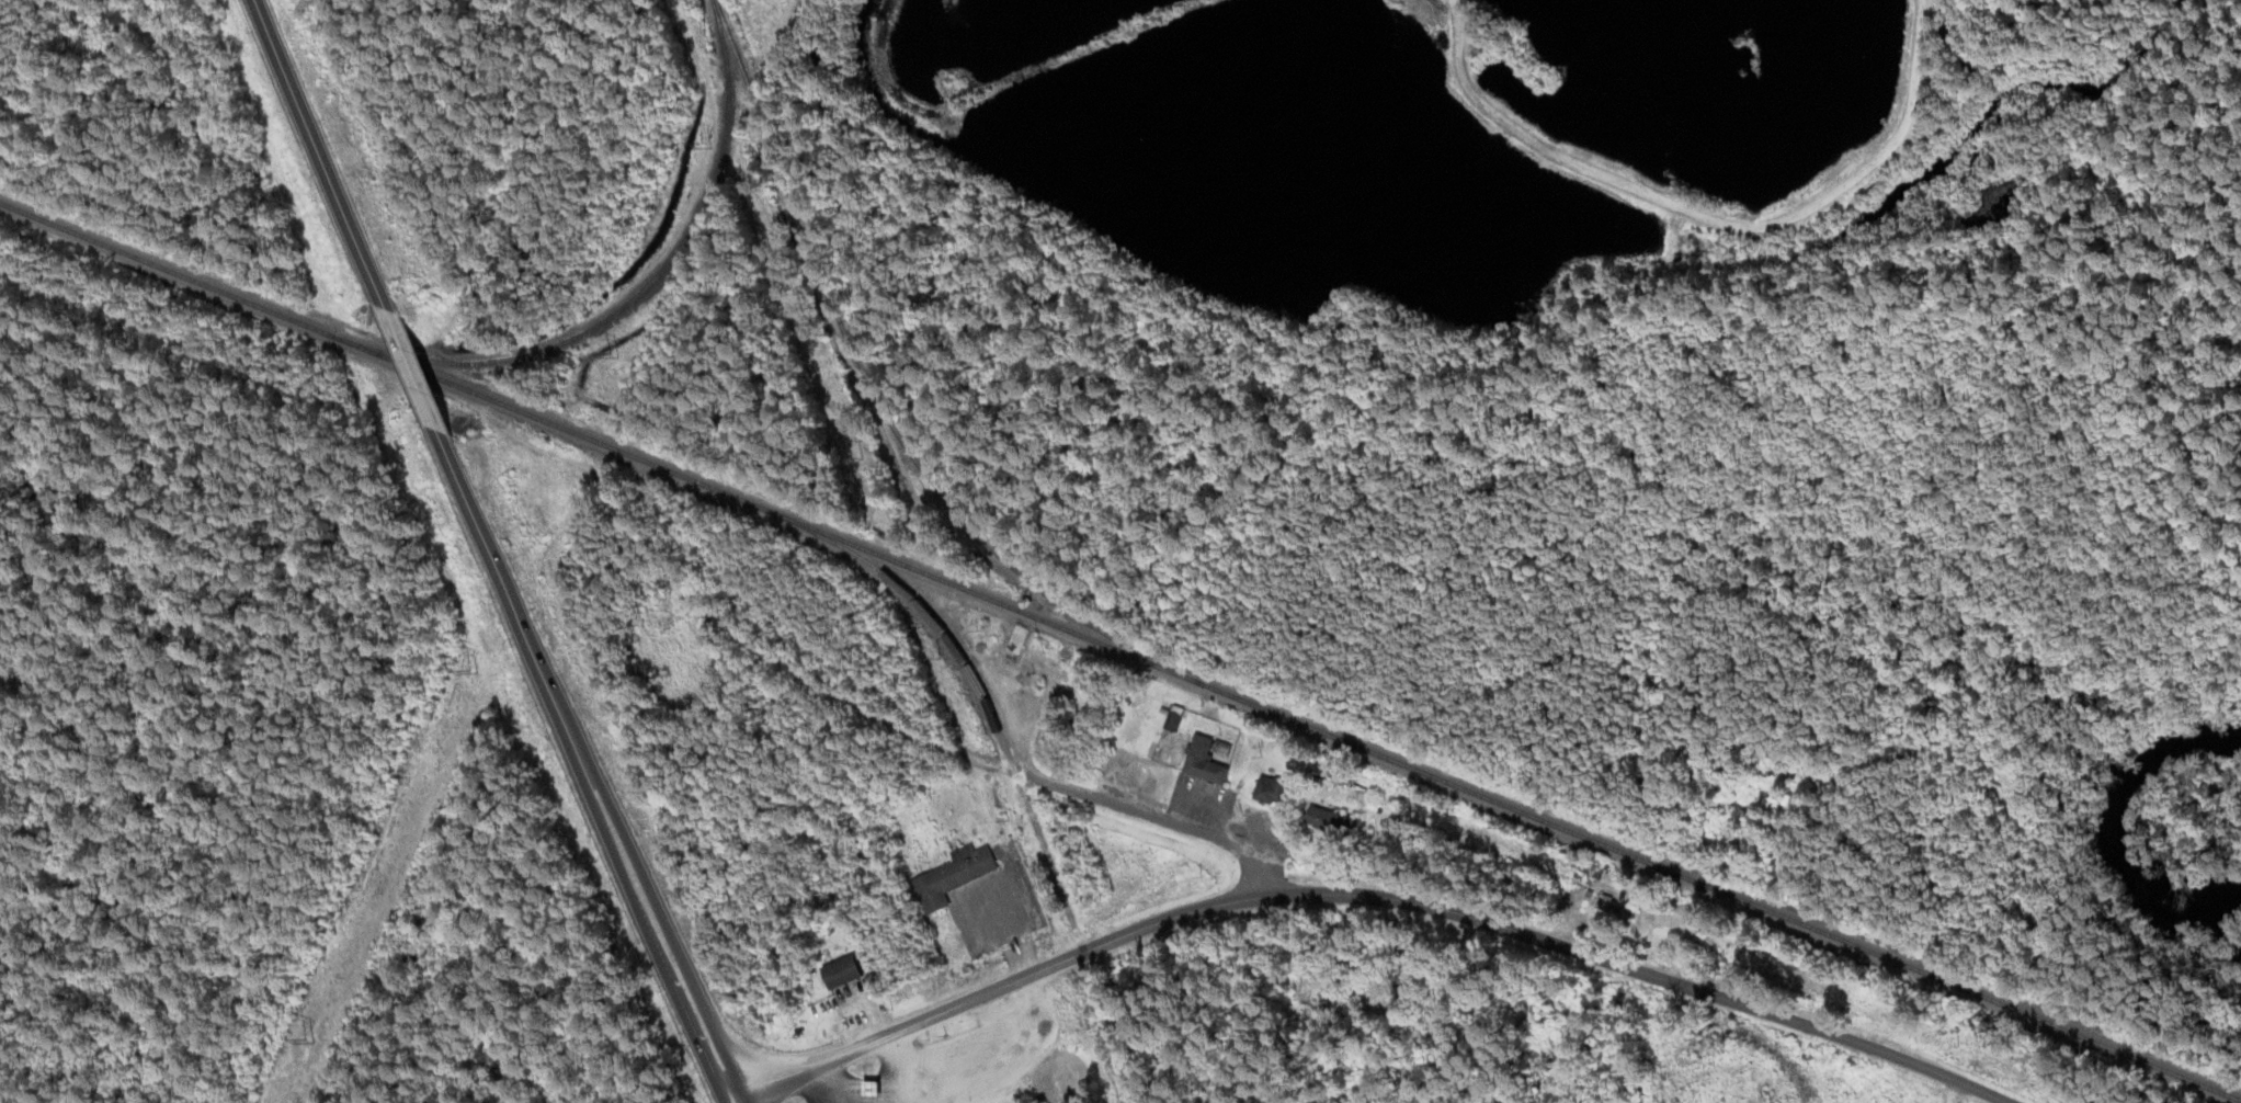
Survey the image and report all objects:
power tower: (698, 140)
road: (329, 153)
road: (1696, 213)
railway: (637, 294)
power tower: (610, 350)
road: (422, 371)
railway: (885, 408)
building: (1020, 640)
railway: (1119, 652)
power tower: (475, 669)
building: (1208, 762)
road: (591, 769)
building: (1275, 791)
building: (1335, 823)
road: (1255, 866)
building: (956, 877)
road: (1373, 887)
building: (1612, 902)
building: (846, 973)
power tower: (308, 1036)
building: (1012, 1092)

